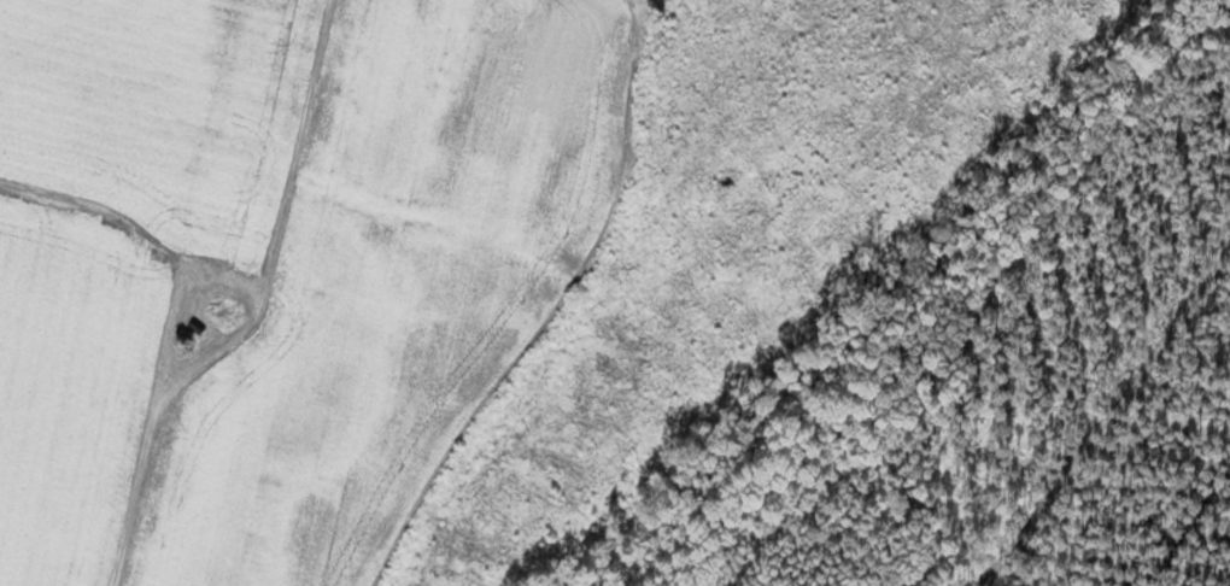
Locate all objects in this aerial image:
road: (90, 293)

